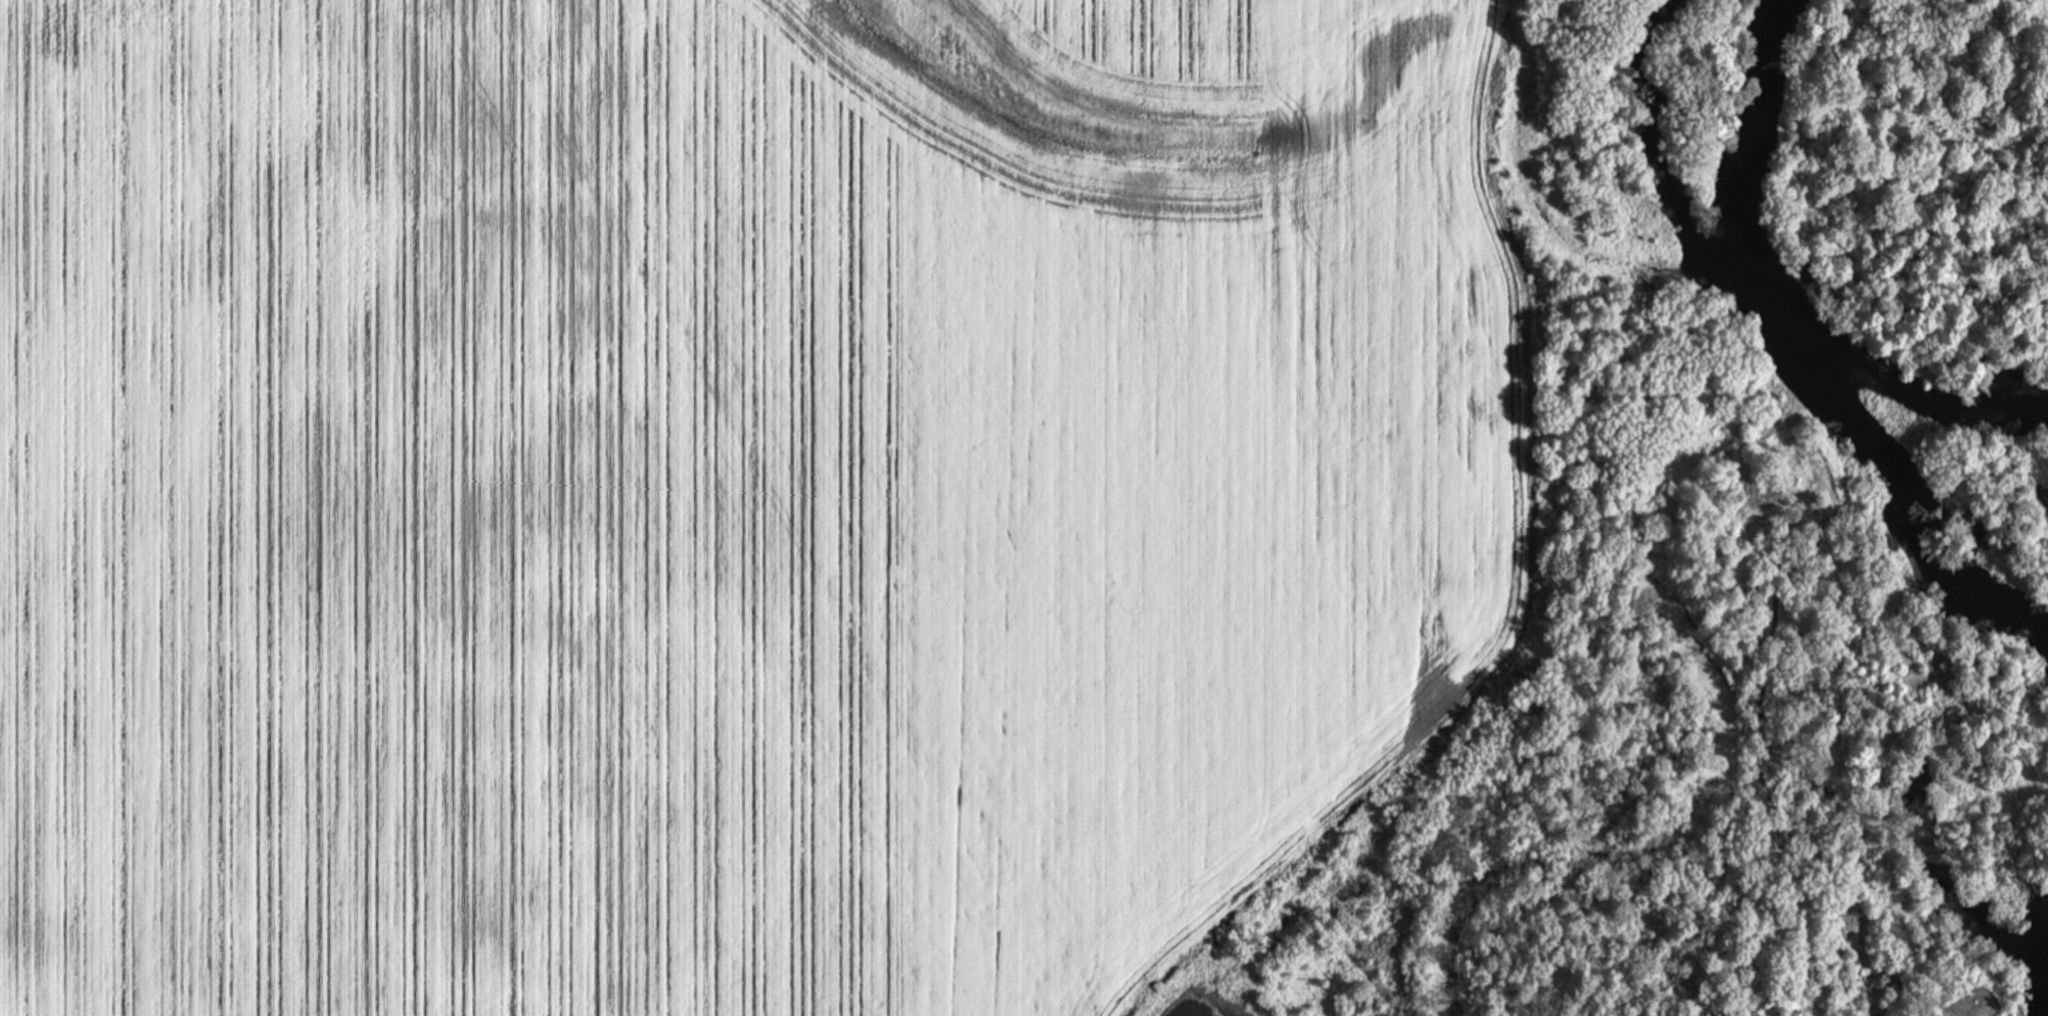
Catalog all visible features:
river: (1771, 295)
road: (1813, 488)

